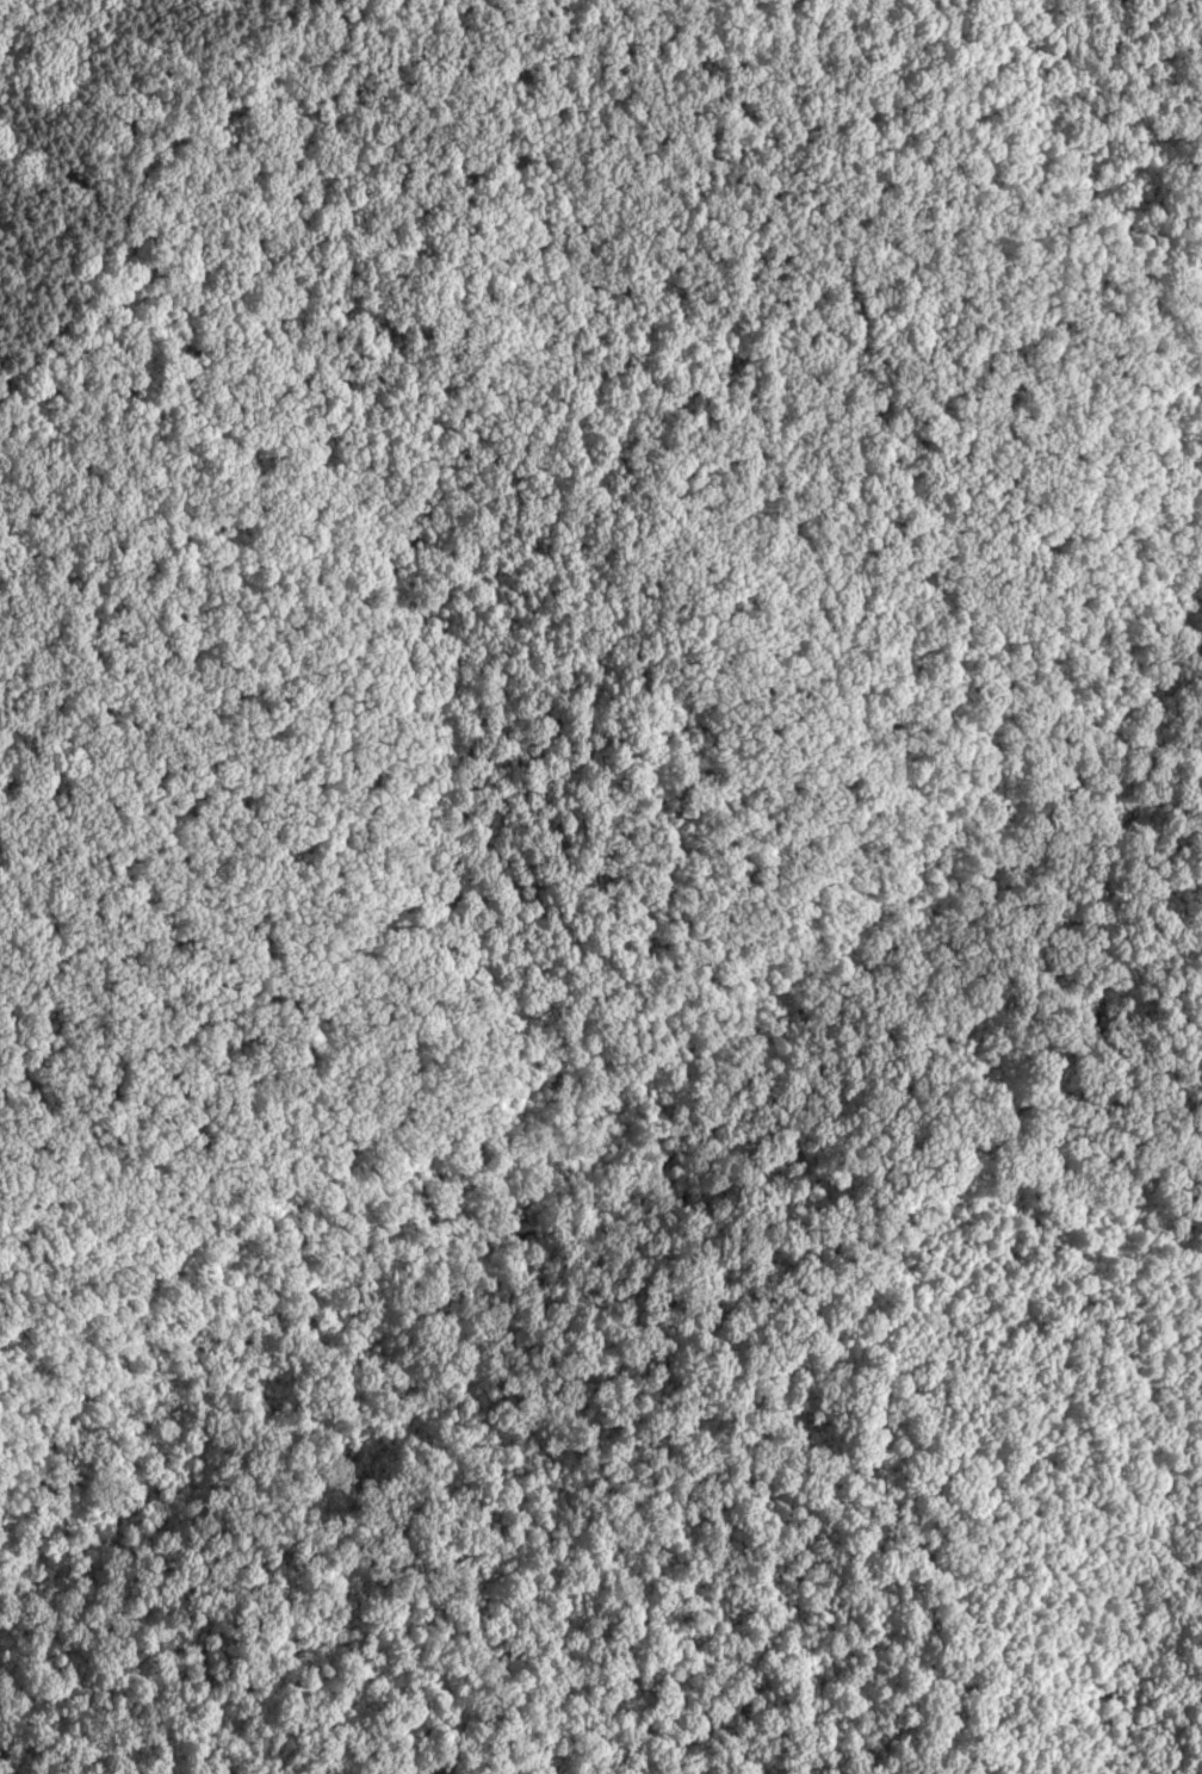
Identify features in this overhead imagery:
road: (191, 196)

